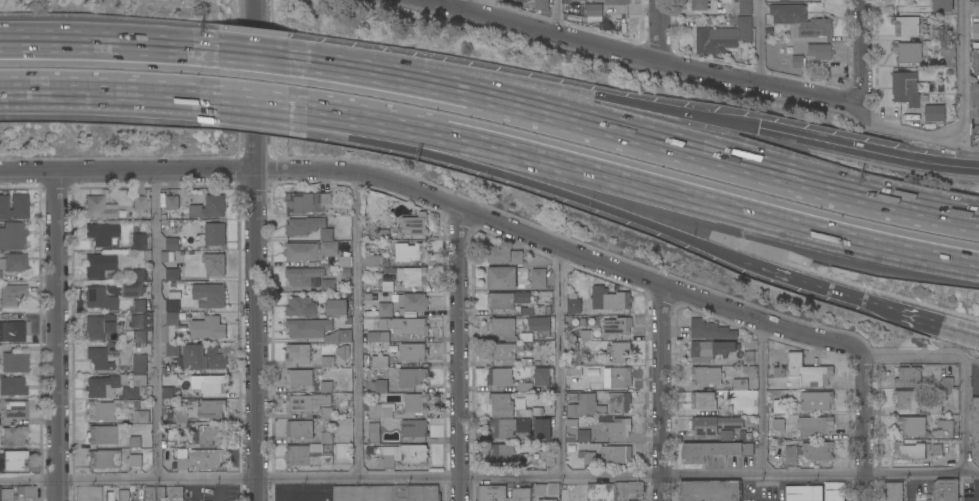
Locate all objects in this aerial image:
building: (577, 0)
building: (772, 0)
building: (519, 1)
building: (616, 2)
road: (458, 4)
building: (541, 5)
building: (704, 6)
building: (942, 6)
building: (741, 7)
building: (976, 7)
building: (593, 10)
road: (558, 19)
building: (802, 23)
building: (906, 26)
building: (976, 31)
road: (658, 33)
road: (113, 34)
building: (941, 35)
building: (723, 37)
road: (761, 43)
road: (261, 48)
building: (821, 52)
road: (861, 53)
building: (906, 53)
building: (948, 54)
building: (975, 56)
road: (641, 61)
building: (797, 62)
building: (905, 89)
road: (597, 98)
road: (114, 99)
building: (974, 103)
road: (262, 109)
building: (934, 113)
road: (309, 114)
road: (962, 124)
road: (638, 130)
road: (867, 154)
road: (528, 185)
road: (651, 188)
road: (441, 200)
building: (138, 202)
building: (172, 203)
building: (306, 203)
building: (4, 207)
building: (19, 207)
building: (209, 207)
building: (99, 208)
building: (164, 223)
building: (414, 225)
building: (297, 227)
building: (382, 234)
building: (98, 235)
building: (213, 235)
building: (326, 235)
building: (12, 236)
building: (365, 237)
building: (138, 242)
building: (172, 244)
building: (328, 249)
road: (254, 250)
building: (300, 252)
building: (410, 253)
building: (504, 256)
building: (375, 261)
building: (342, 262)
building: (13, 263)
building: (349, 263)
building: (214, 264)
building: (94, 266)
building: (347, 272)
building: (139, 275)
building: (172, 275)
building: (302, 276)
building: (409, 276)
building: (502, 278)
building: (539, 279)
building: (327, 286)
building: (387, 286)
road: (810, 286)
building: (132, 290)
building: (12, 294)
building: (209, 296)
building: (368, 297)
building: (99, 299)
building: (610, 299)
building: (507, 300)
building: (172, 302)
building: (412, 302)
building: (573, 306)
building: (301, 307)
building: (336, 308)
building: (385, 310)
building: (548, 310)
building: (526, 311)
building: (140, 322)
building: (348, 322)
road: (158, 325)
road: (357, 325)
road: (933, 325)
building: (98, 326)
building: (405, 326)
building: (617, 326)
building: (540, 327)
building: (207, 328)
building: (308, 328)
building: (503, 328)
building: (709, 330)
building: (12, 332)
building: (170, 335)
building: (344, 335)
building: (587, 335)
road: (55, 336)
building: (526, 337)
building: (379, 338)
building: (711, 350)
building: (343, 352)
building: (413, 352)
building: (0, 353)
road: (459, 353)
building: (504, 353)
building: (617, 353)
building: (297, 354)
building: (749, 355)
road: (920, 357)
building: (202, 358)
building: (98, 359)
building: (366, 361)
building: (15, 362)
building: (327, 362)
building: (380, 362)
road: (559, 362)
building: (139, 364)
building: (124, 370)
building: (778, 372)
building: (806, 373)
building: (705, 376)
building: (500, 377)
building: (542, 377)
building: (620, 377)
building: (907, 377)
building: (298, 378)
building: (412, 378)
building: (139, 380)
building: (947, 384)
building: (213, 385)
building: (378, 385)
building: (740, 385)
building: (12, 387)
building: (101, 387)
building: (326, 387)
building: (525, 387)
building: (131, 393)
building: (166, 393)
road: (662, 393)
building: (571, 397)
road: (761, 398)
building: (906, 400)
building: (702, 401)
building: (816, 401)
building: (619, 402)
building: (306, 403)
building: (415, 403)
building: (500, 403)
building: (586, 407)
building: (778, 407)
building: (14, 409)
building: (211, 409)
building: (379, 411)
building: (99, 412)
building: (529, 412)
building: (327, 413)
road: (966, 415)
building: (141, 417)
building: (181, 417)
building: (572, 422)
building: (778, 424)
building: (714, 425)
building: (814, 426)
building: (509, 427)
building: (910, 427)
building: (619, 428)
building: (299, 429)
building: (414, 429)
building: (542, 429)
road: (861, 429)
building: (943, 430)
building: (975, 431)
building: (373, 432)
building: (172, 433)
building: (101, 435)
building: (207, 435)
building: (14, 436)
building: (583, 436)
building: (726, 436)
building: (326, 438)
building: (134, 442)
building: (172, 445)
building: (936, 448)
building: (712, 451)
building: (909, 451)
building: (808, 453)
building: (502, 454)
building: (404, 455)
building: (615, 455)
building: (307, 456)
building: (589, 458)
building: (14, 460)
building: (116, 460)
building: (201, 460)
road: (489, 477)
building: (132, 488)
building: (546, 490)
building: (945, 490)
building: (614, 491)
building: (709, 491)
building: (29, 492)
parking lot: (300, 492)
building: (834, 492)
building: (892, 492)
building: (161, 493)
building: (177, 493)
building: (386, 493)
building: (5, 494)
building: (141, 494)
building: (150, 494)
building: (501, 494)
building: (803, 494)
building: (123, 495)
building: (108, 496)
road: (307, 500)
building: (546, 500)

